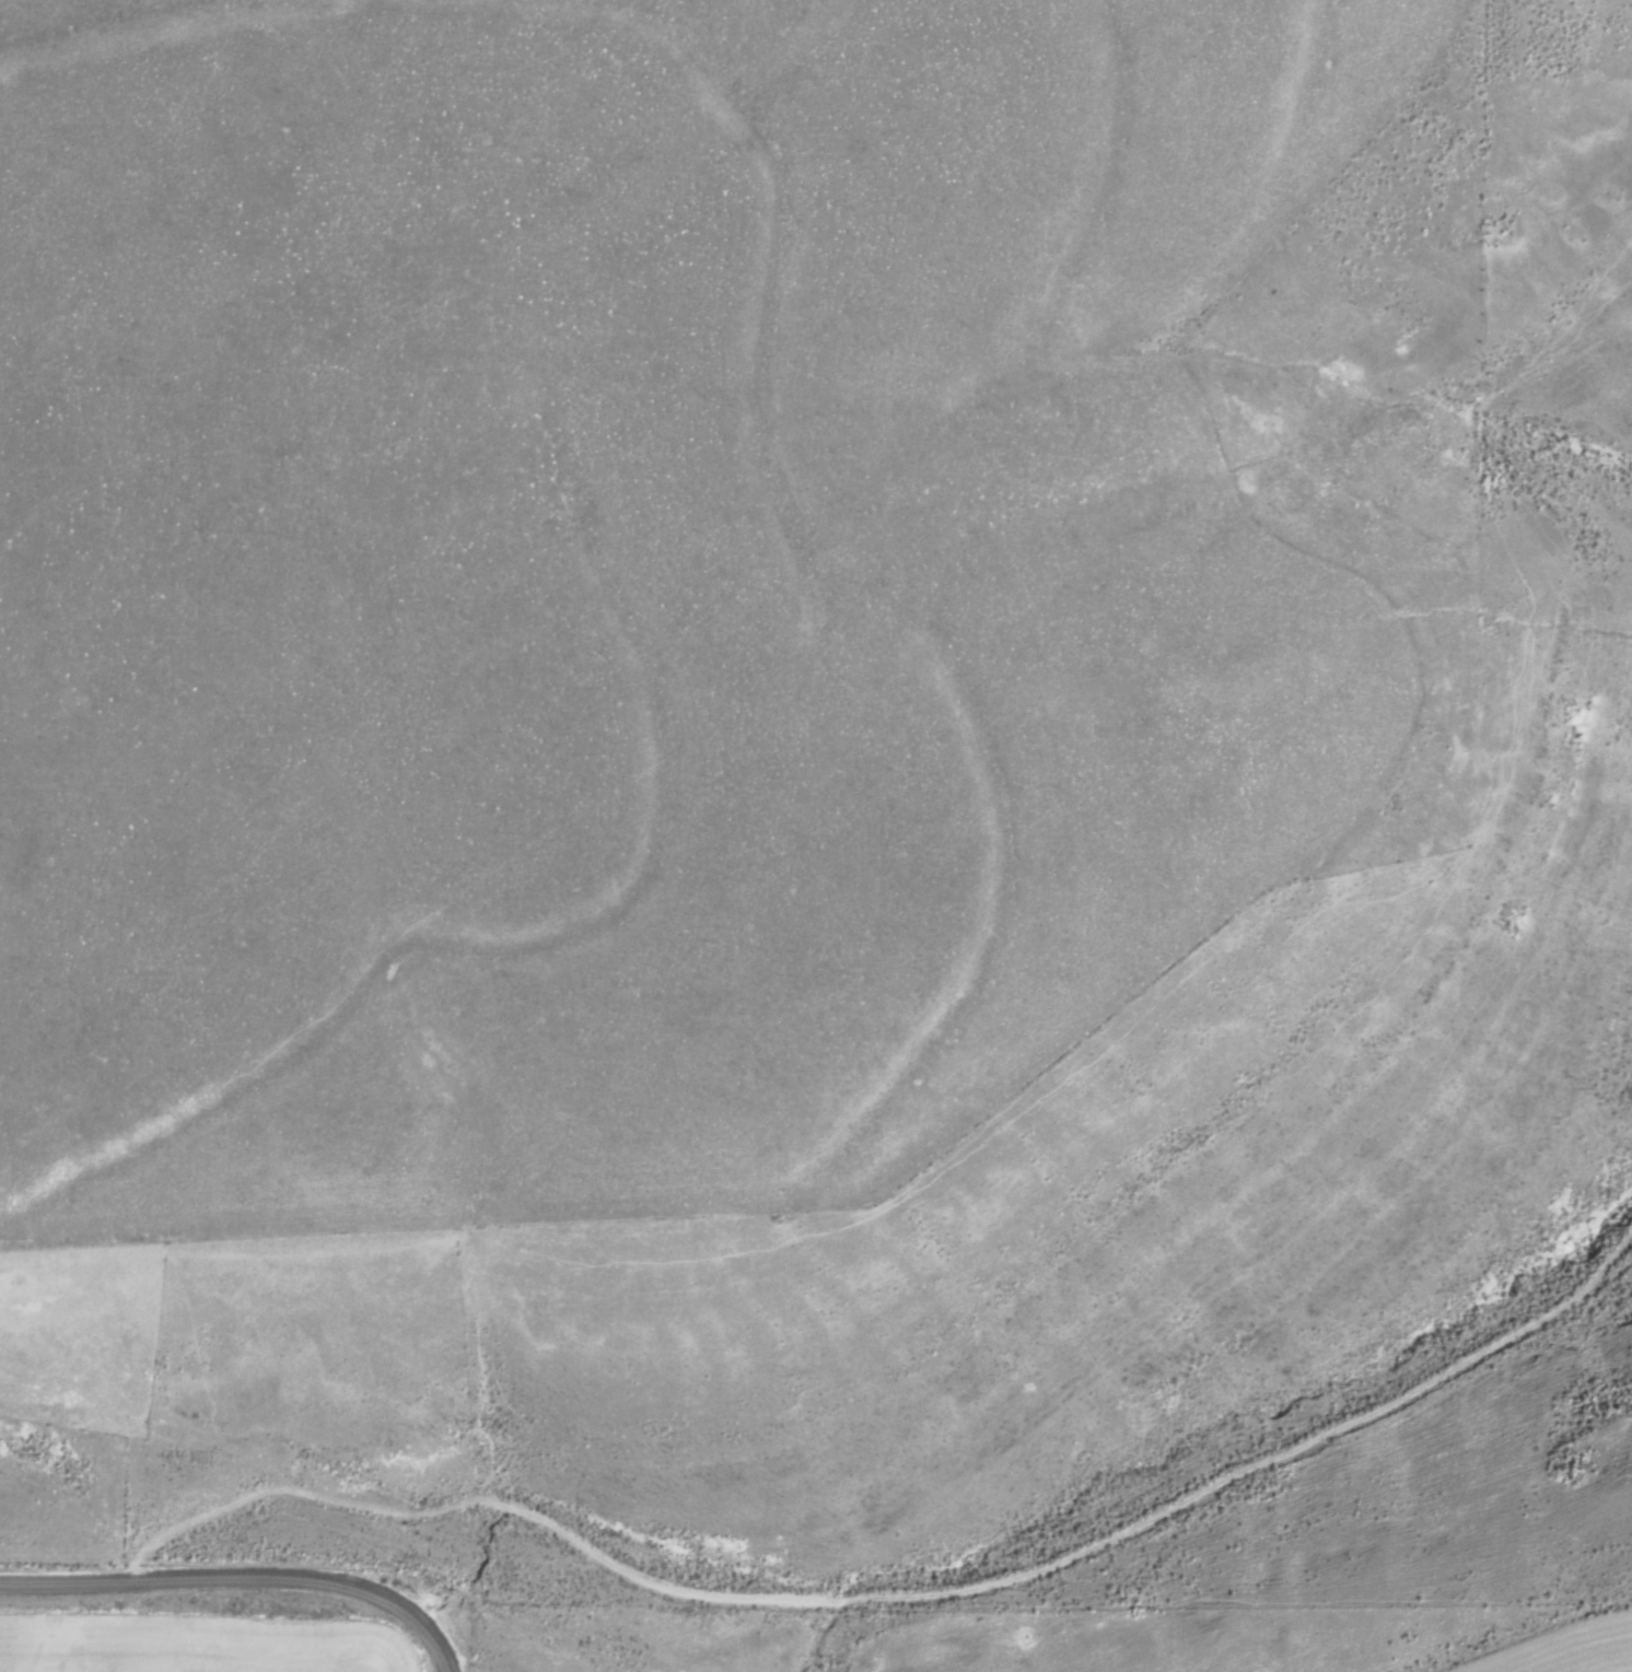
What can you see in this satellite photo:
road: (244, 1577)

